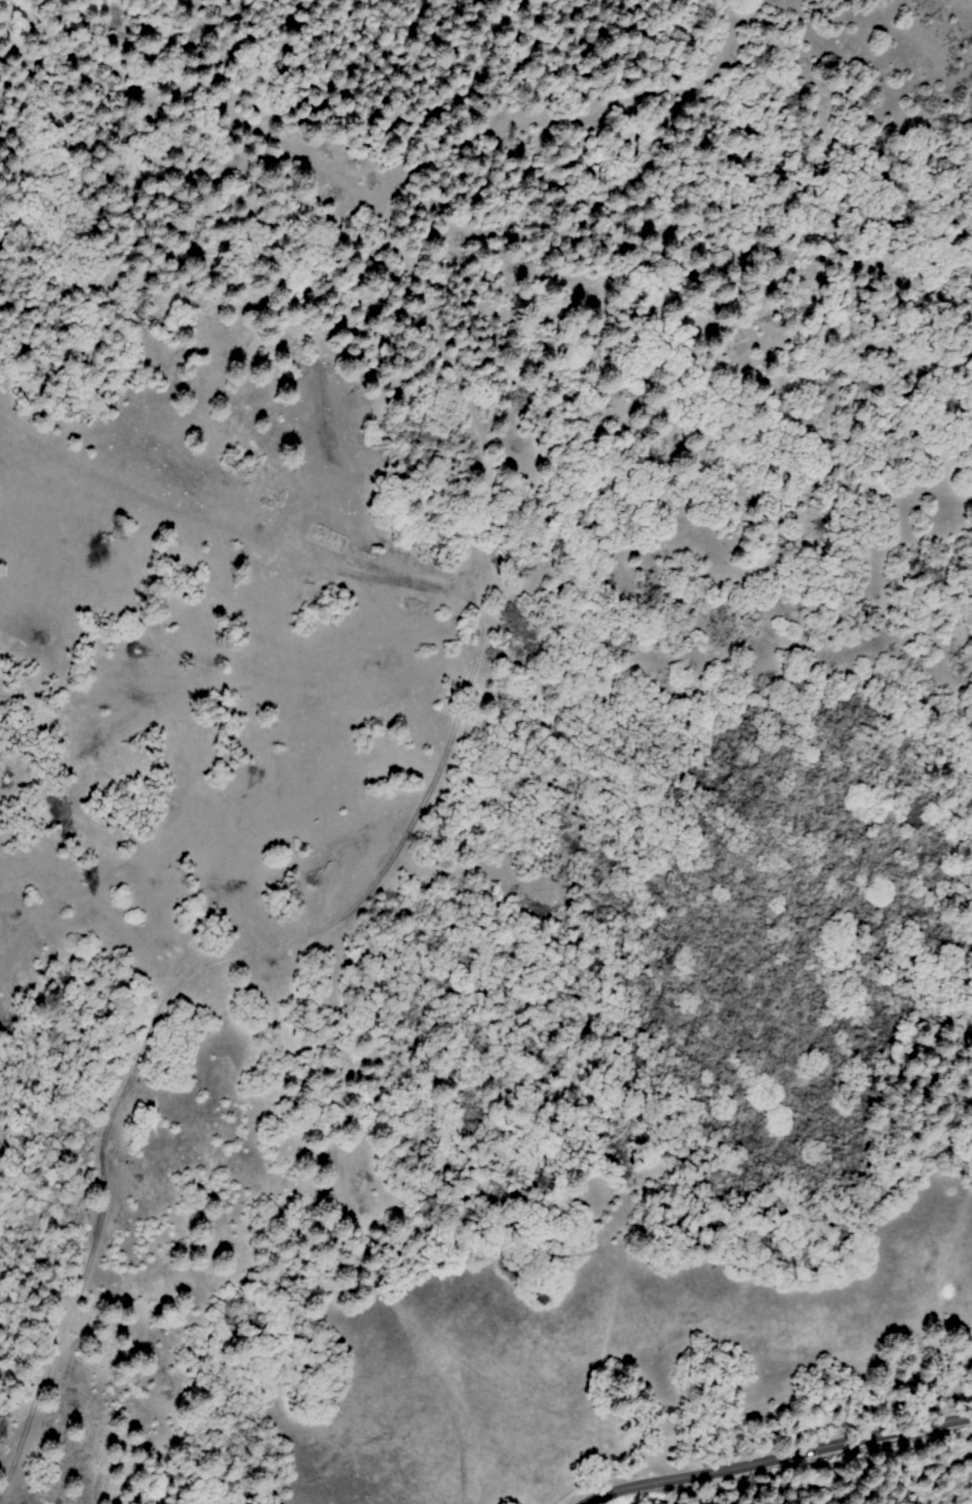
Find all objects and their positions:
road: (776, 1457)

